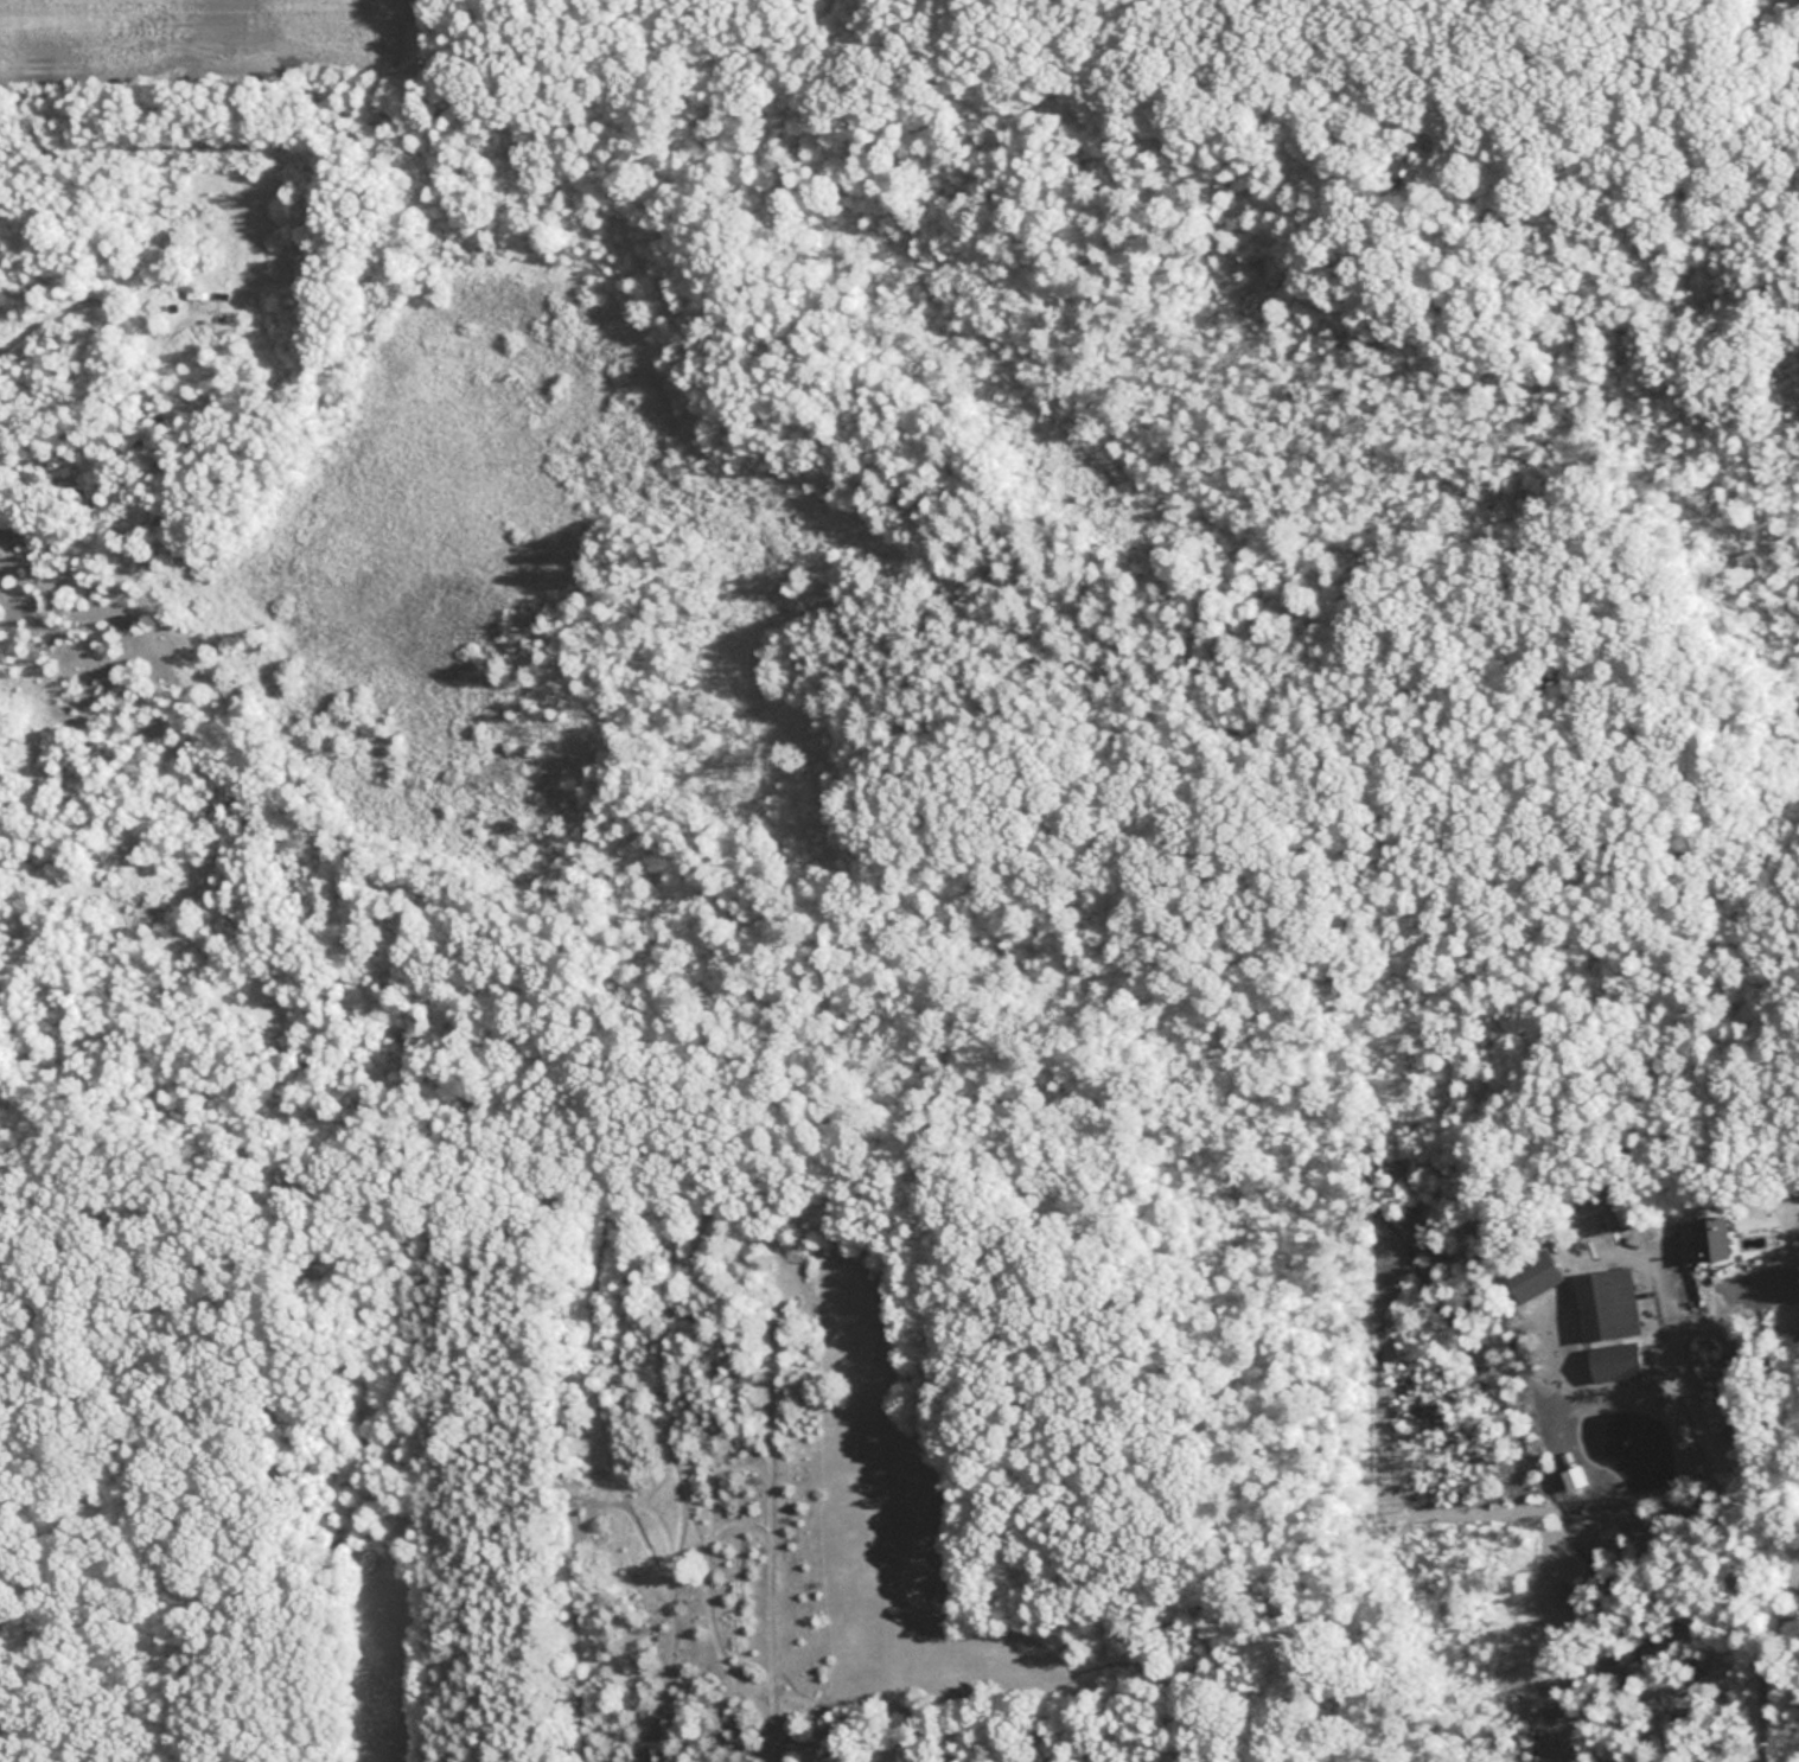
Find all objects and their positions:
building: (1712, 1238)
building: (1535, 1276)
building: (1608, 1304)
building: (1615, 1362)
road: (1746, 1564)
road: (773, 1761)

